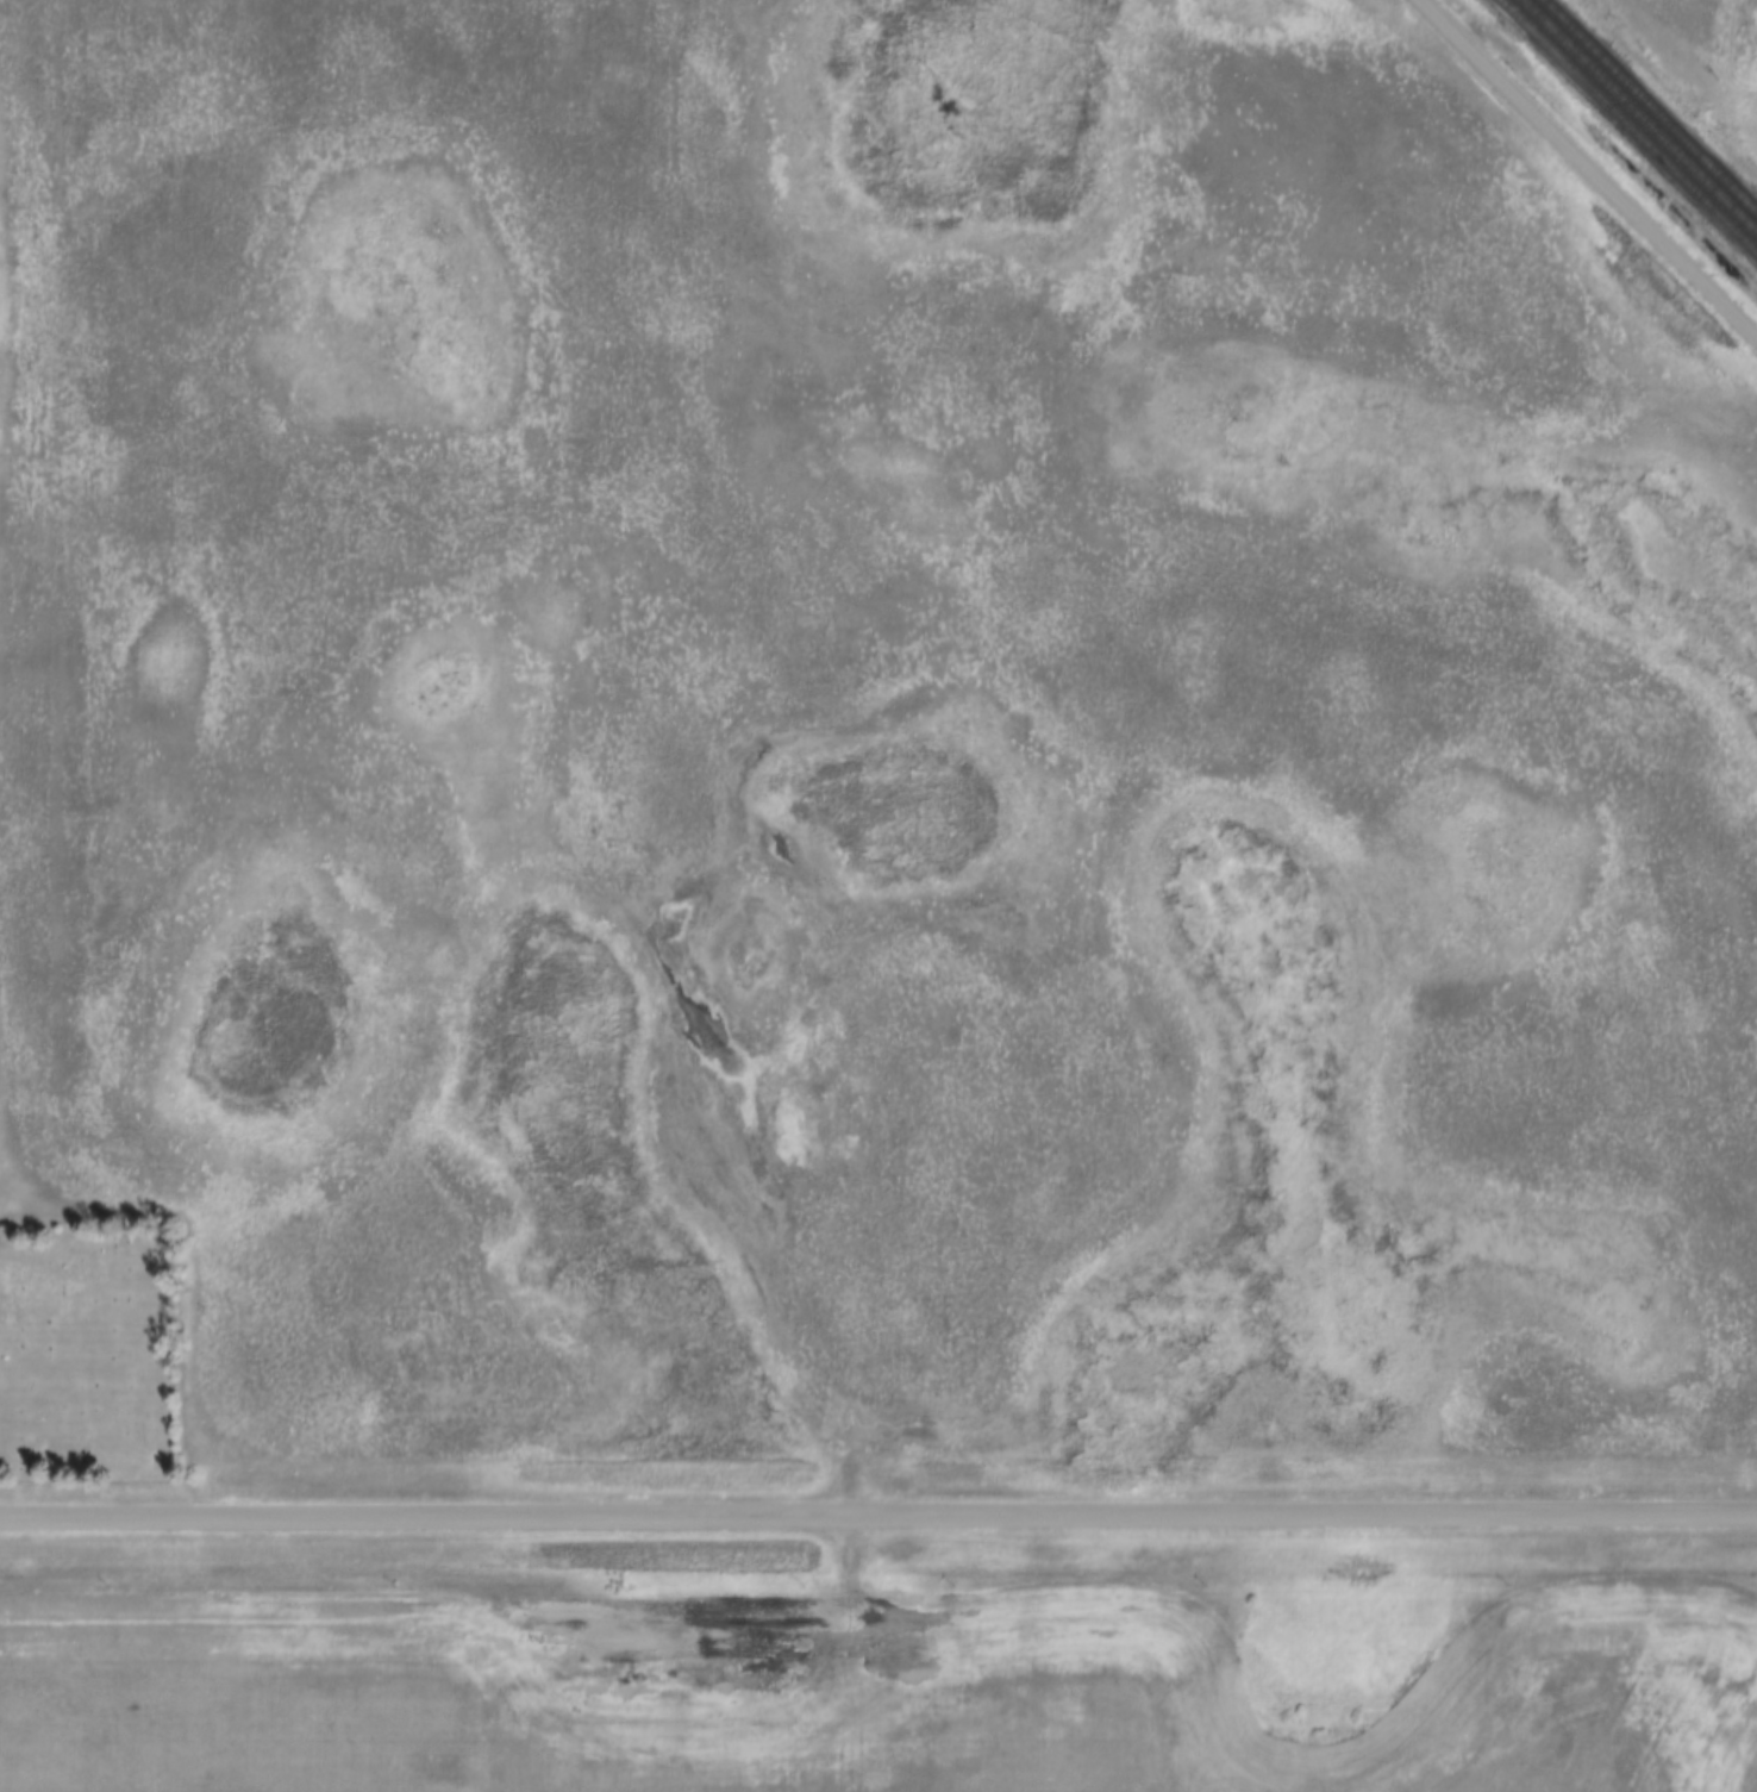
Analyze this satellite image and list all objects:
railway: (1650, 105)
railway: (1639, 115)
railway: (1631, 124)
road: (1587, 168)
road: (757, 1282)
road: (878, 1517)

